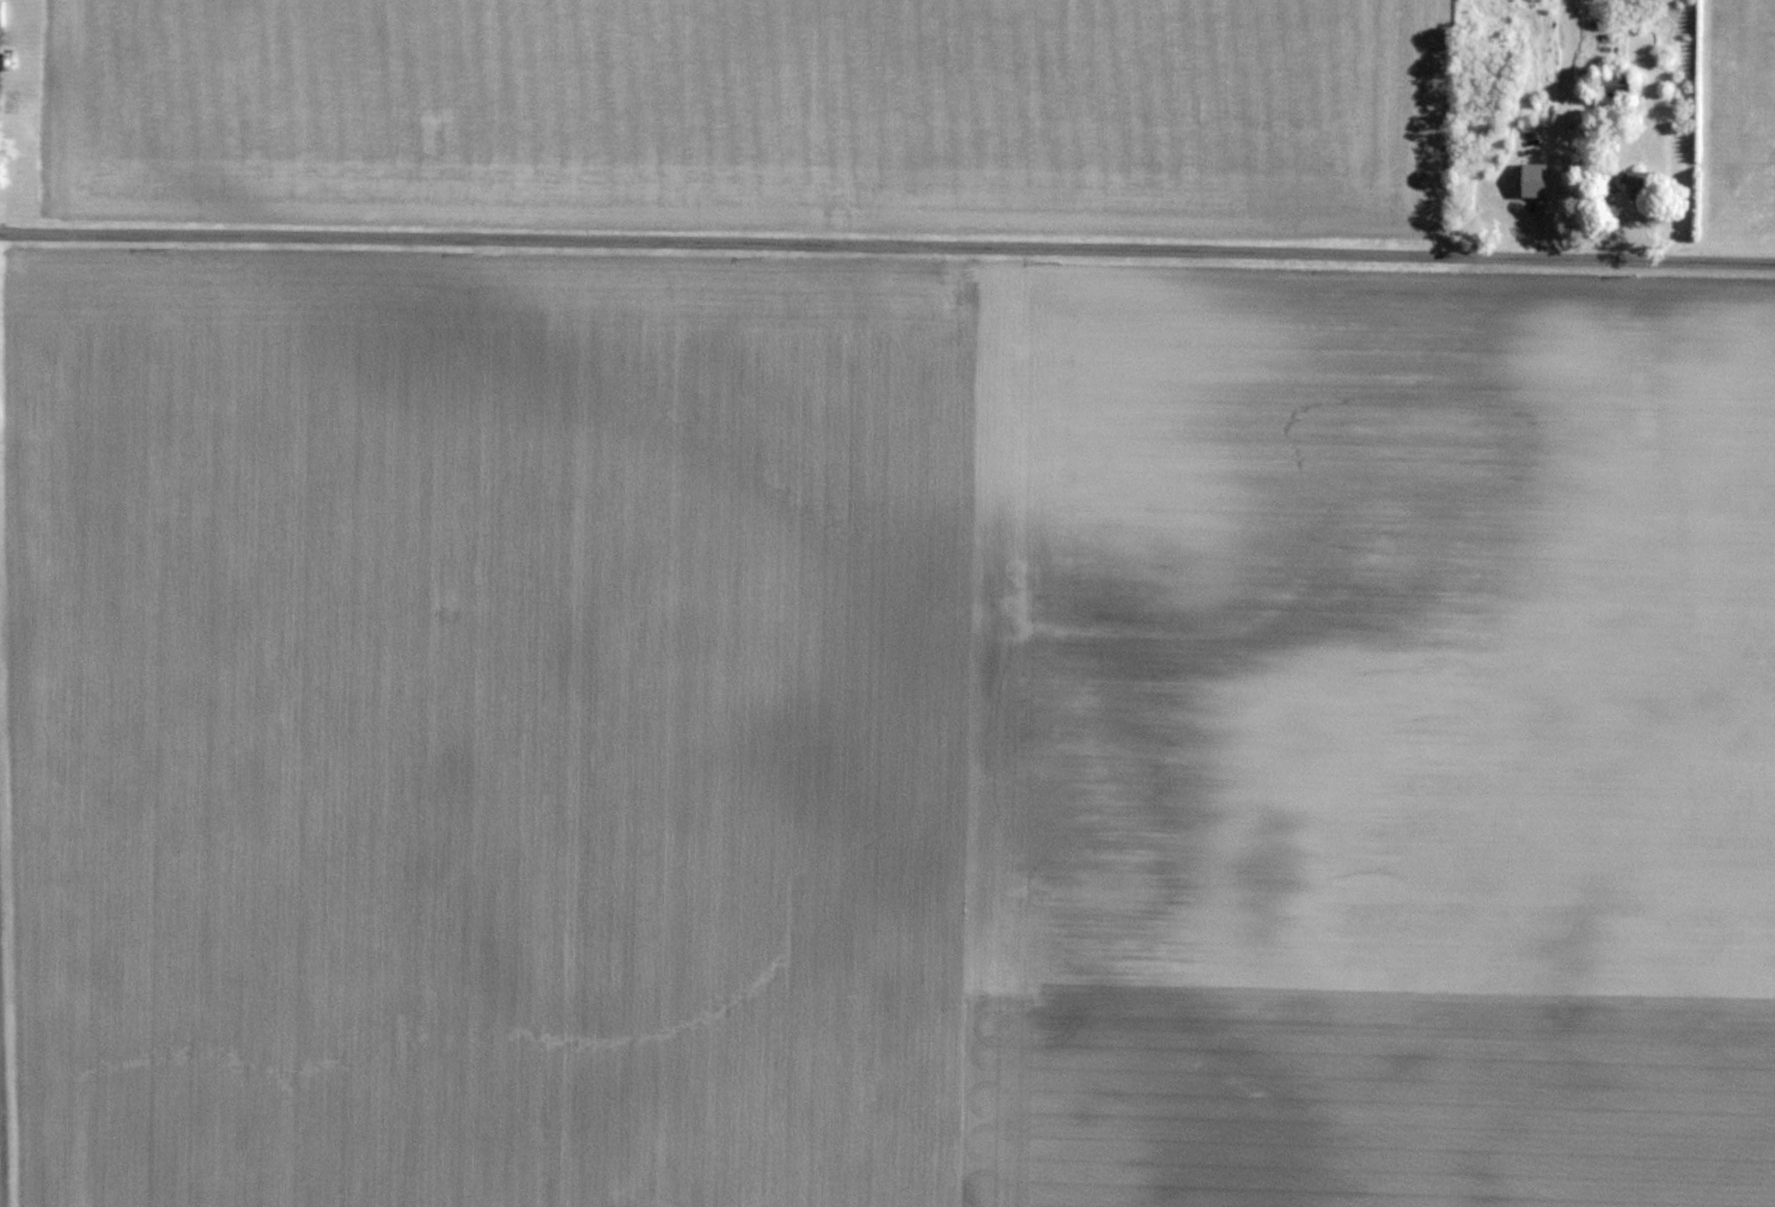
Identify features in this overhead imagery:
road: (887, 249)

